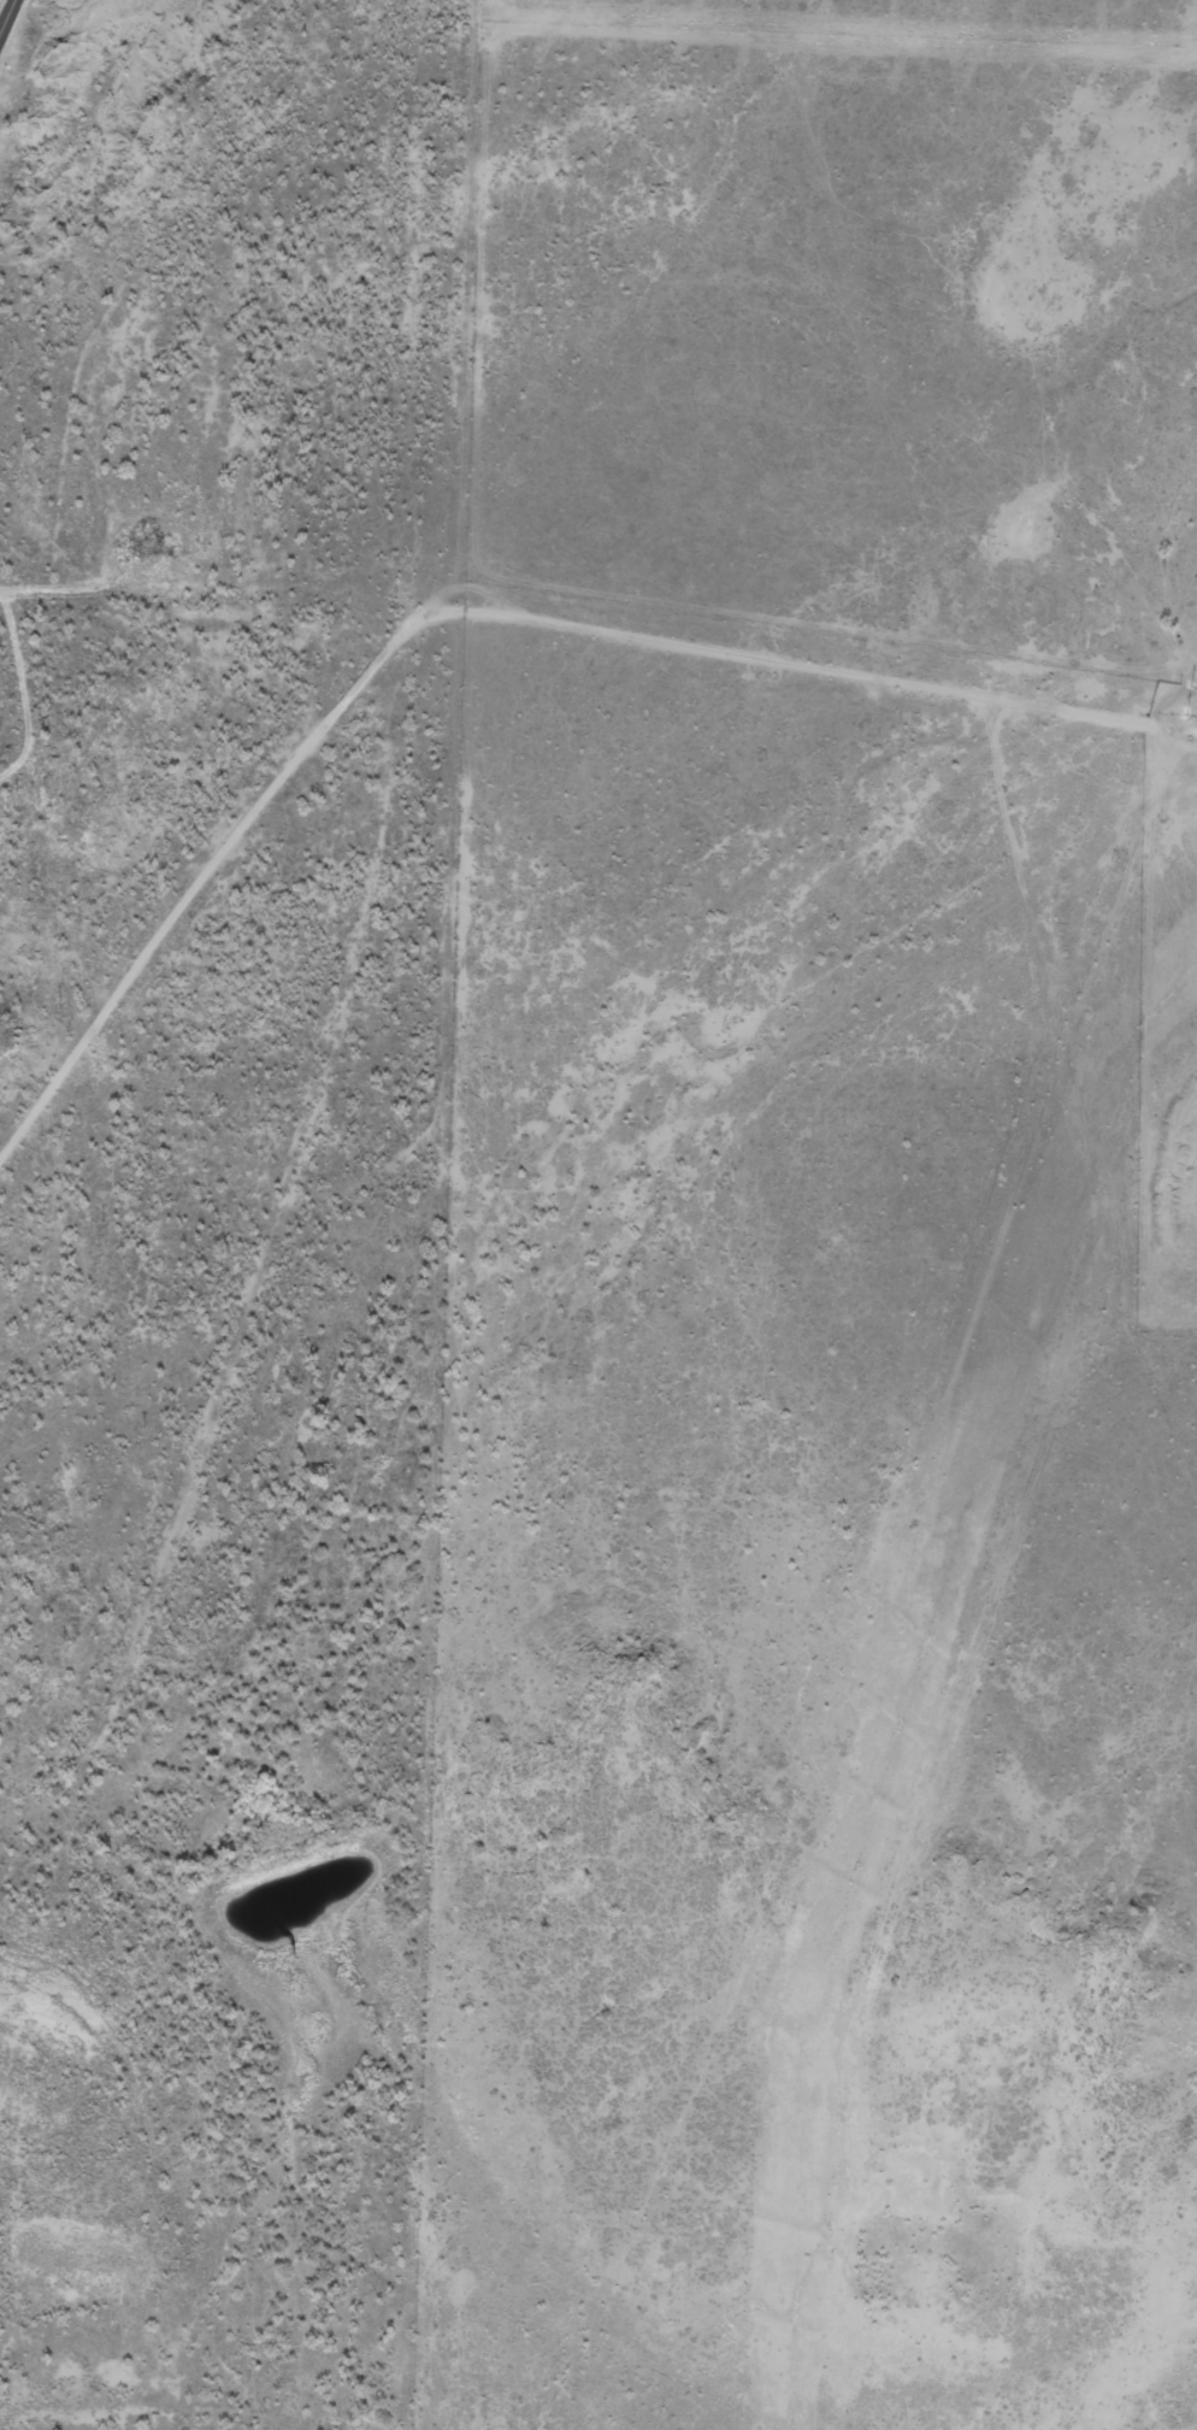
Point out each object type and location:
road: (2, 7)
road: (513, 675)
road: (241, 1146)
road: (1152, 2383)

